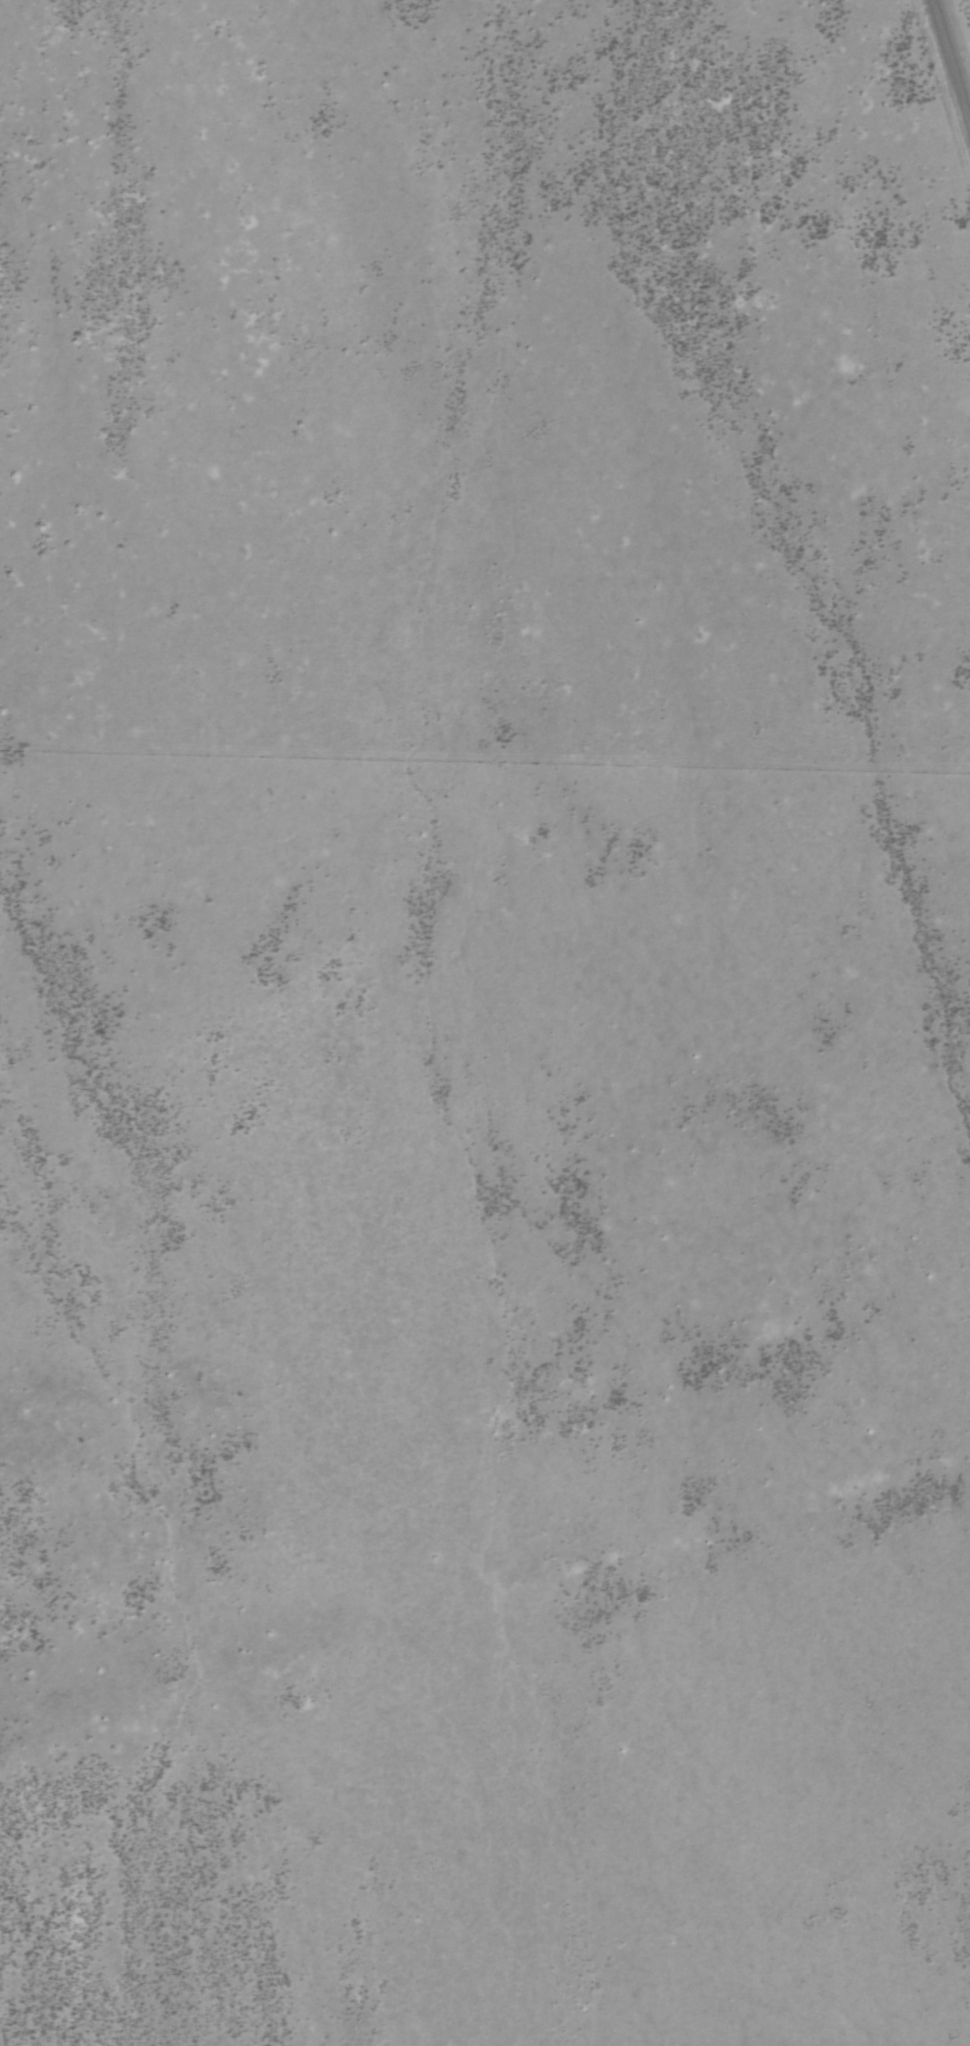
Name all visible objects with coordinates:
road: (952, 60)

